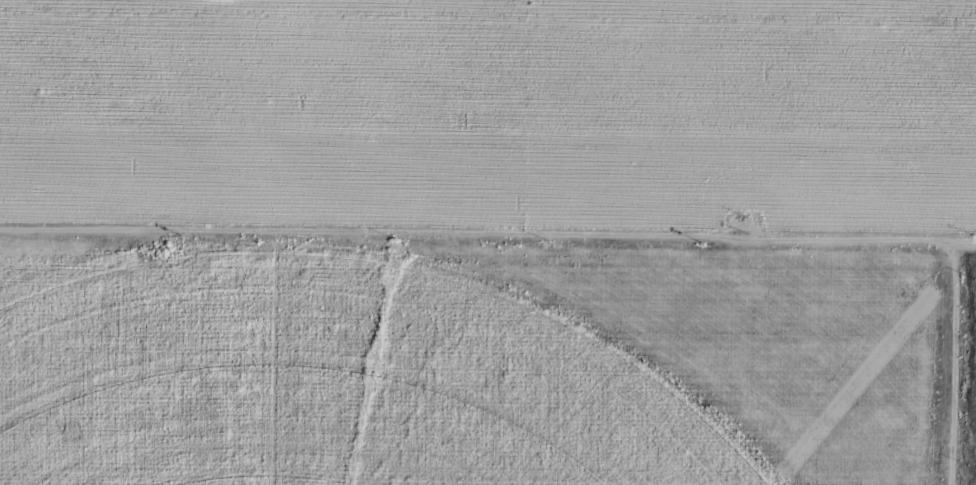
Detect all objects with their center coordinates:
road: (488, 240)

